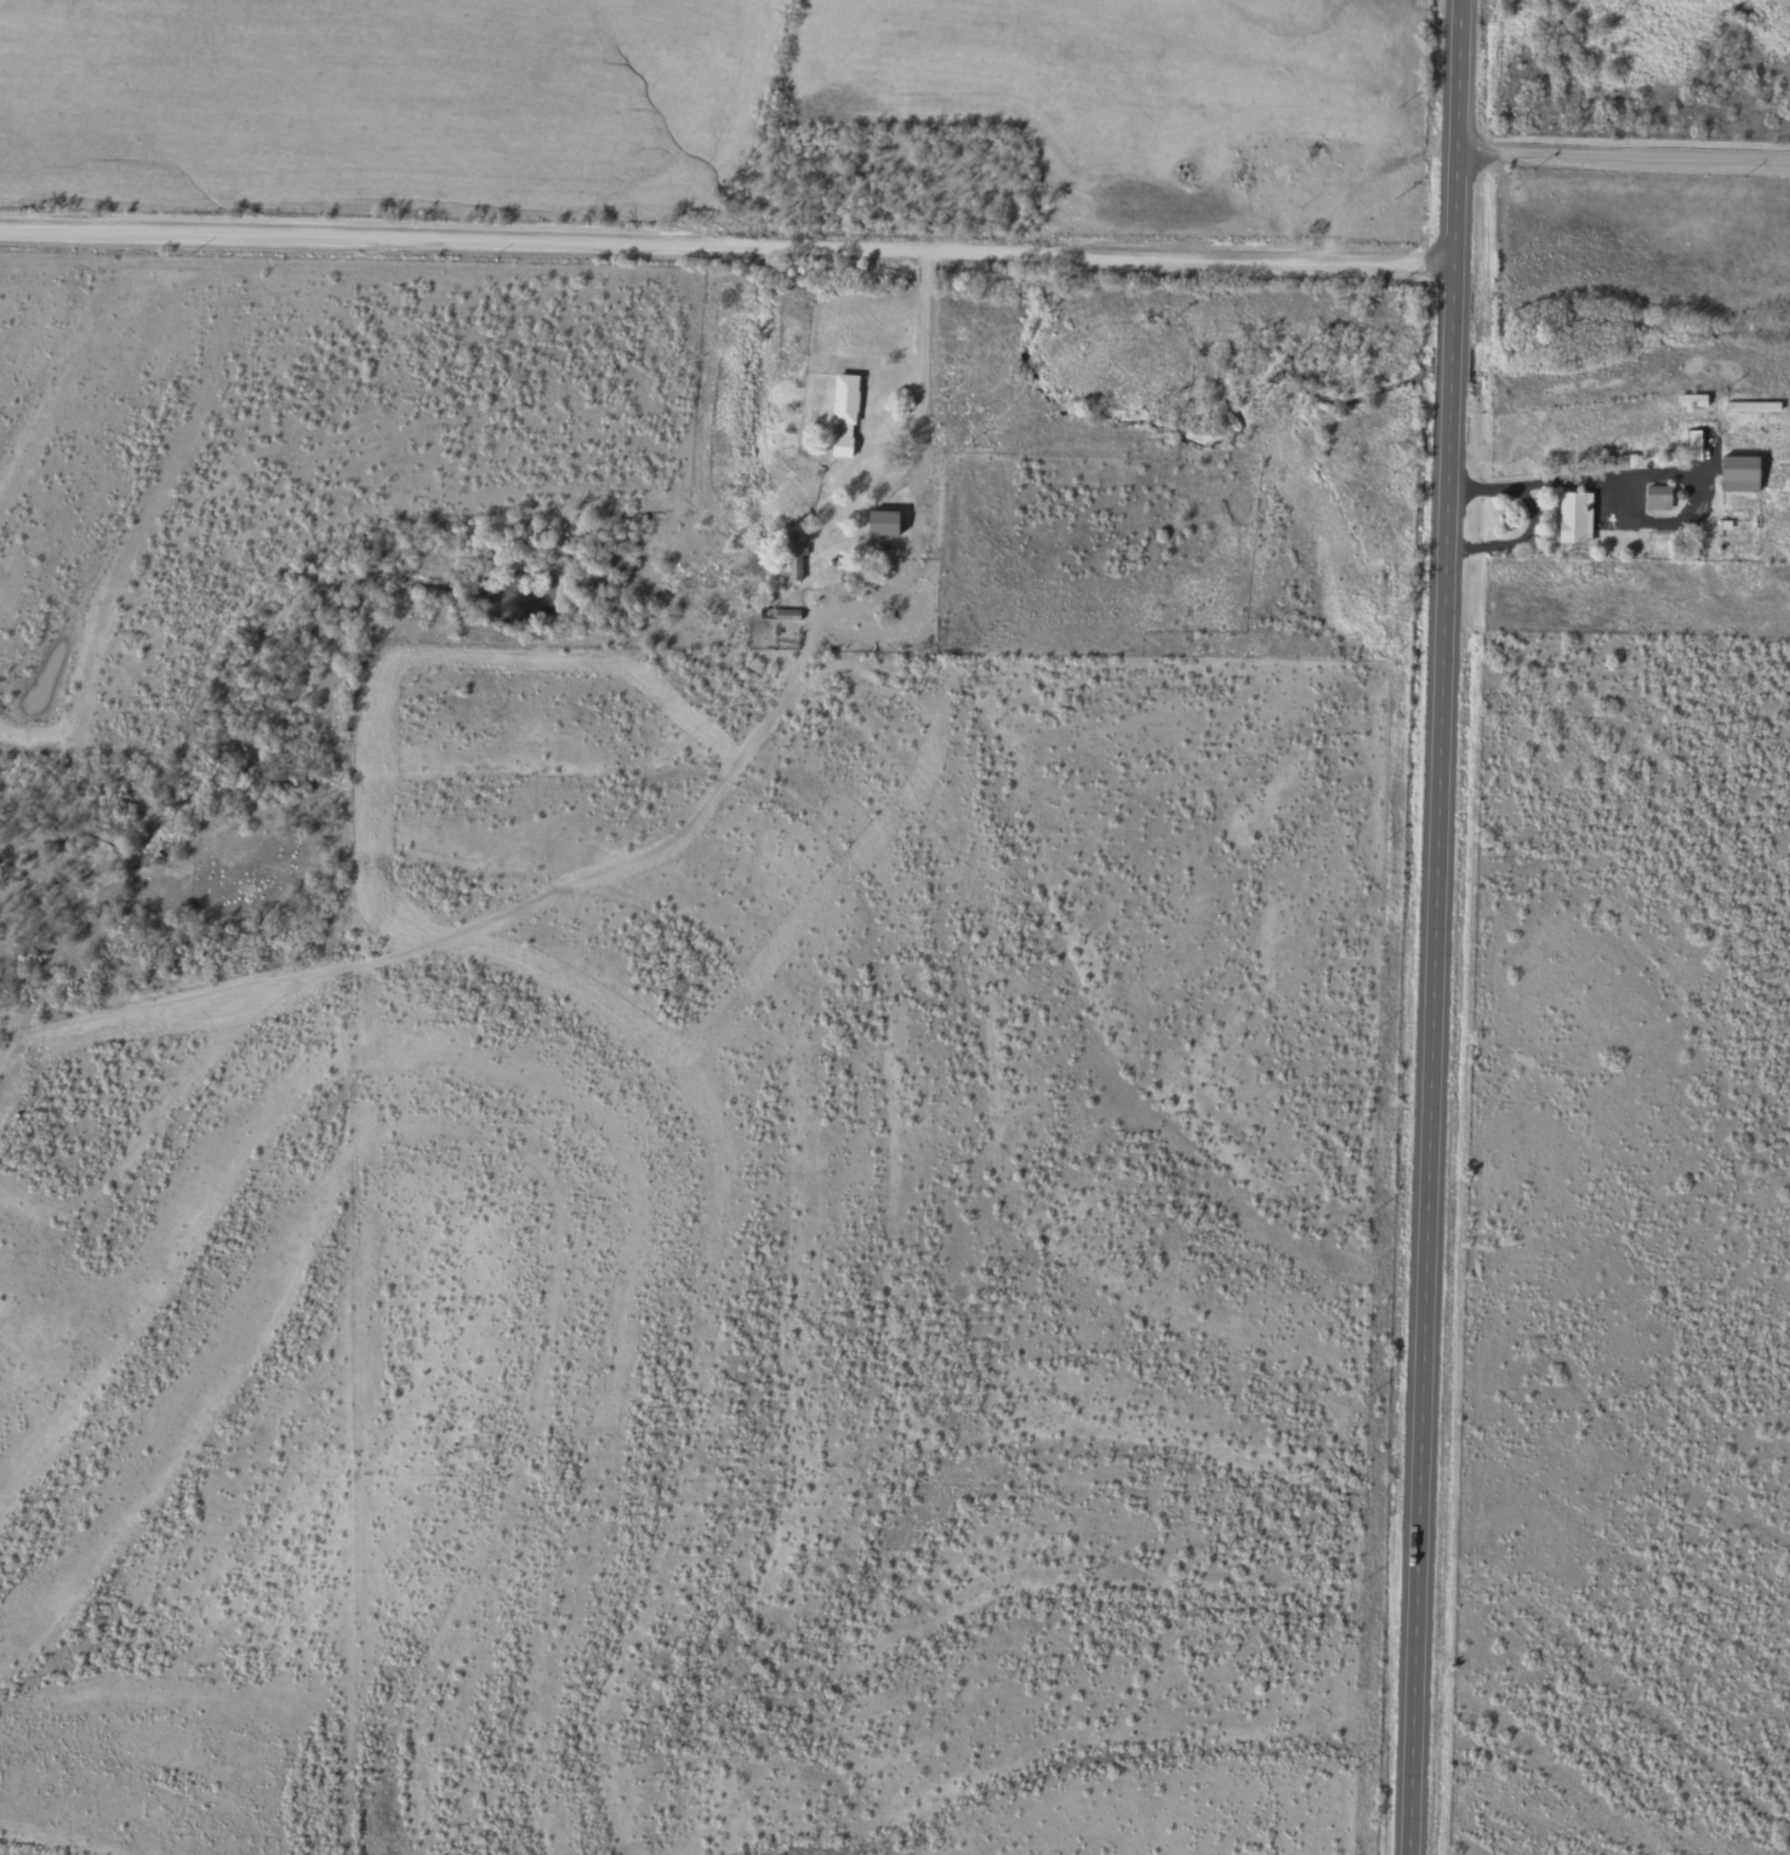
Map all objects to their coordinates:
road: (1627, 149)
building: (1298, 177)
road: (730, 239)
road: (924, 355)
building: (843, 416)
building: (1738, 474)
building: (1658, 498)
building: (1573, 518)
building: (880, 524)
building: (794, 564)
building: (779, 613)
road: (1442, 926)

